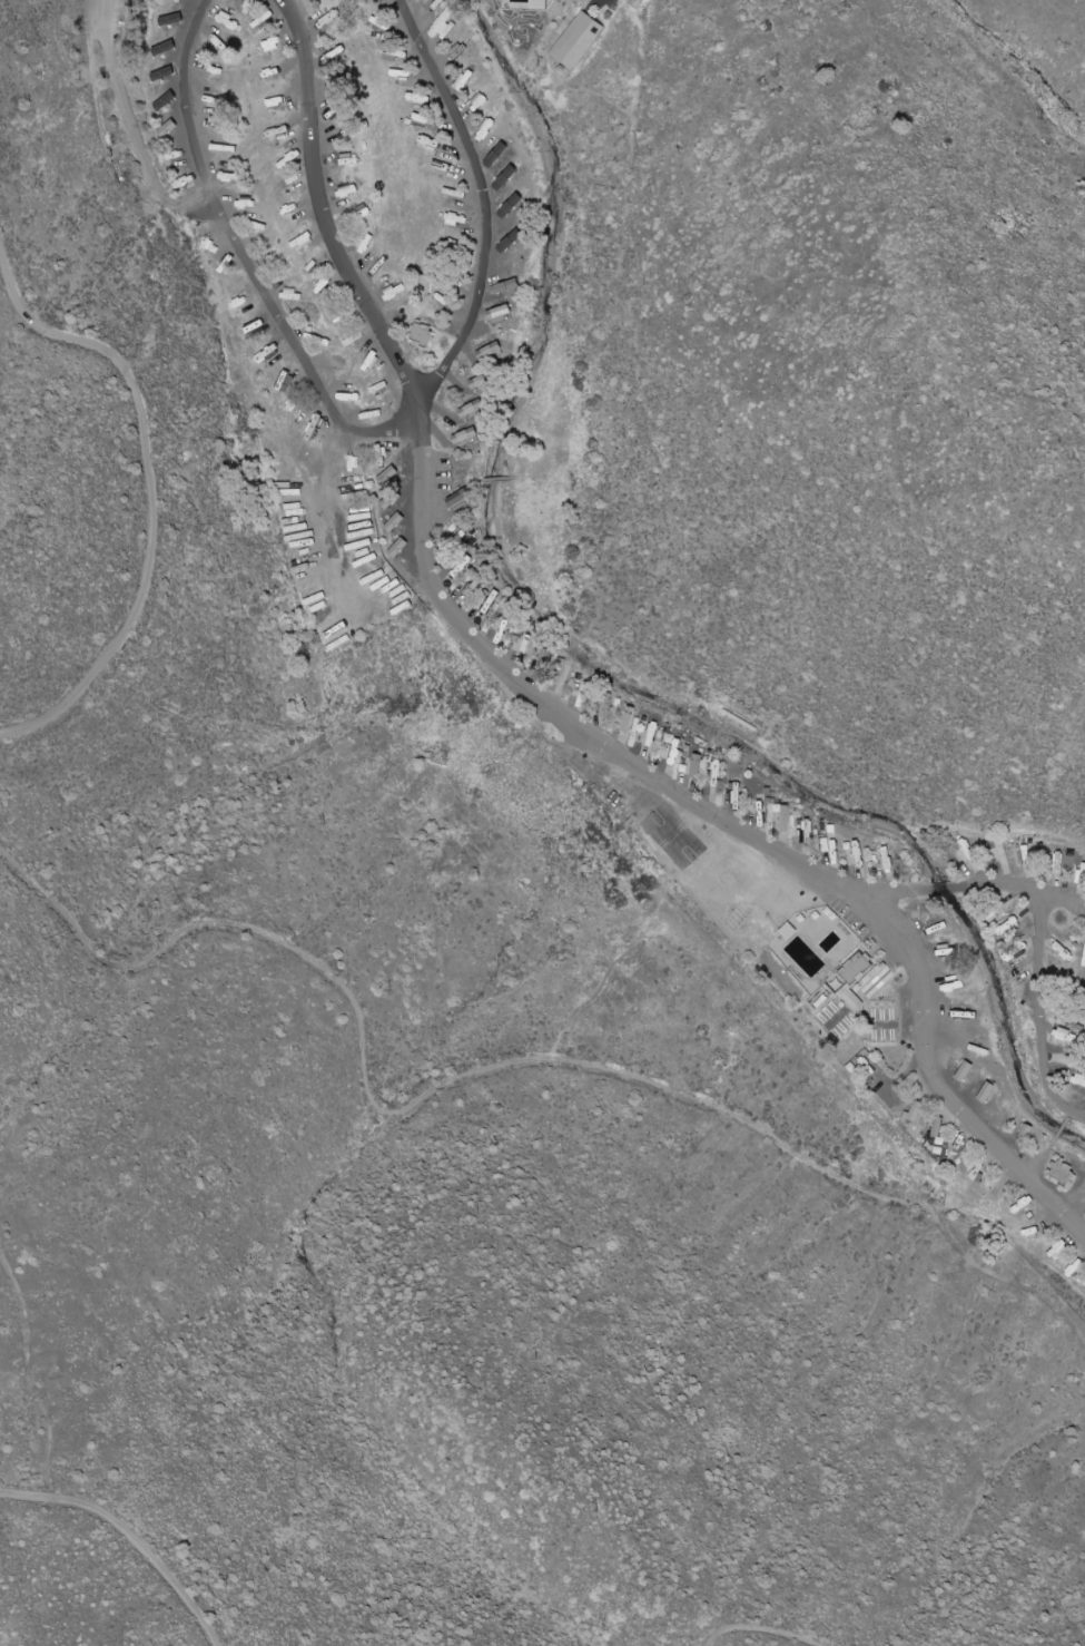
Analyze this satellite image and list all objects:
building: (540, 3)
road: (619, 7)
building: (160, 49)
building: (586, 49)
road: (135, 128)
road: (491, 209)
building: (423, 284)
building: (422, 333)
building: (490, 351)
building: (481, 381)
building: (472, 408)
road: (378, 422)
road: (155, 491)
road: (741, 830)
road: (983, 898)
road: (1028, 1017)
building: (966, 1071)
road: (486, 1081)
building: (987, 1091)
road: (124, 1545)
road: (766, 1637)

